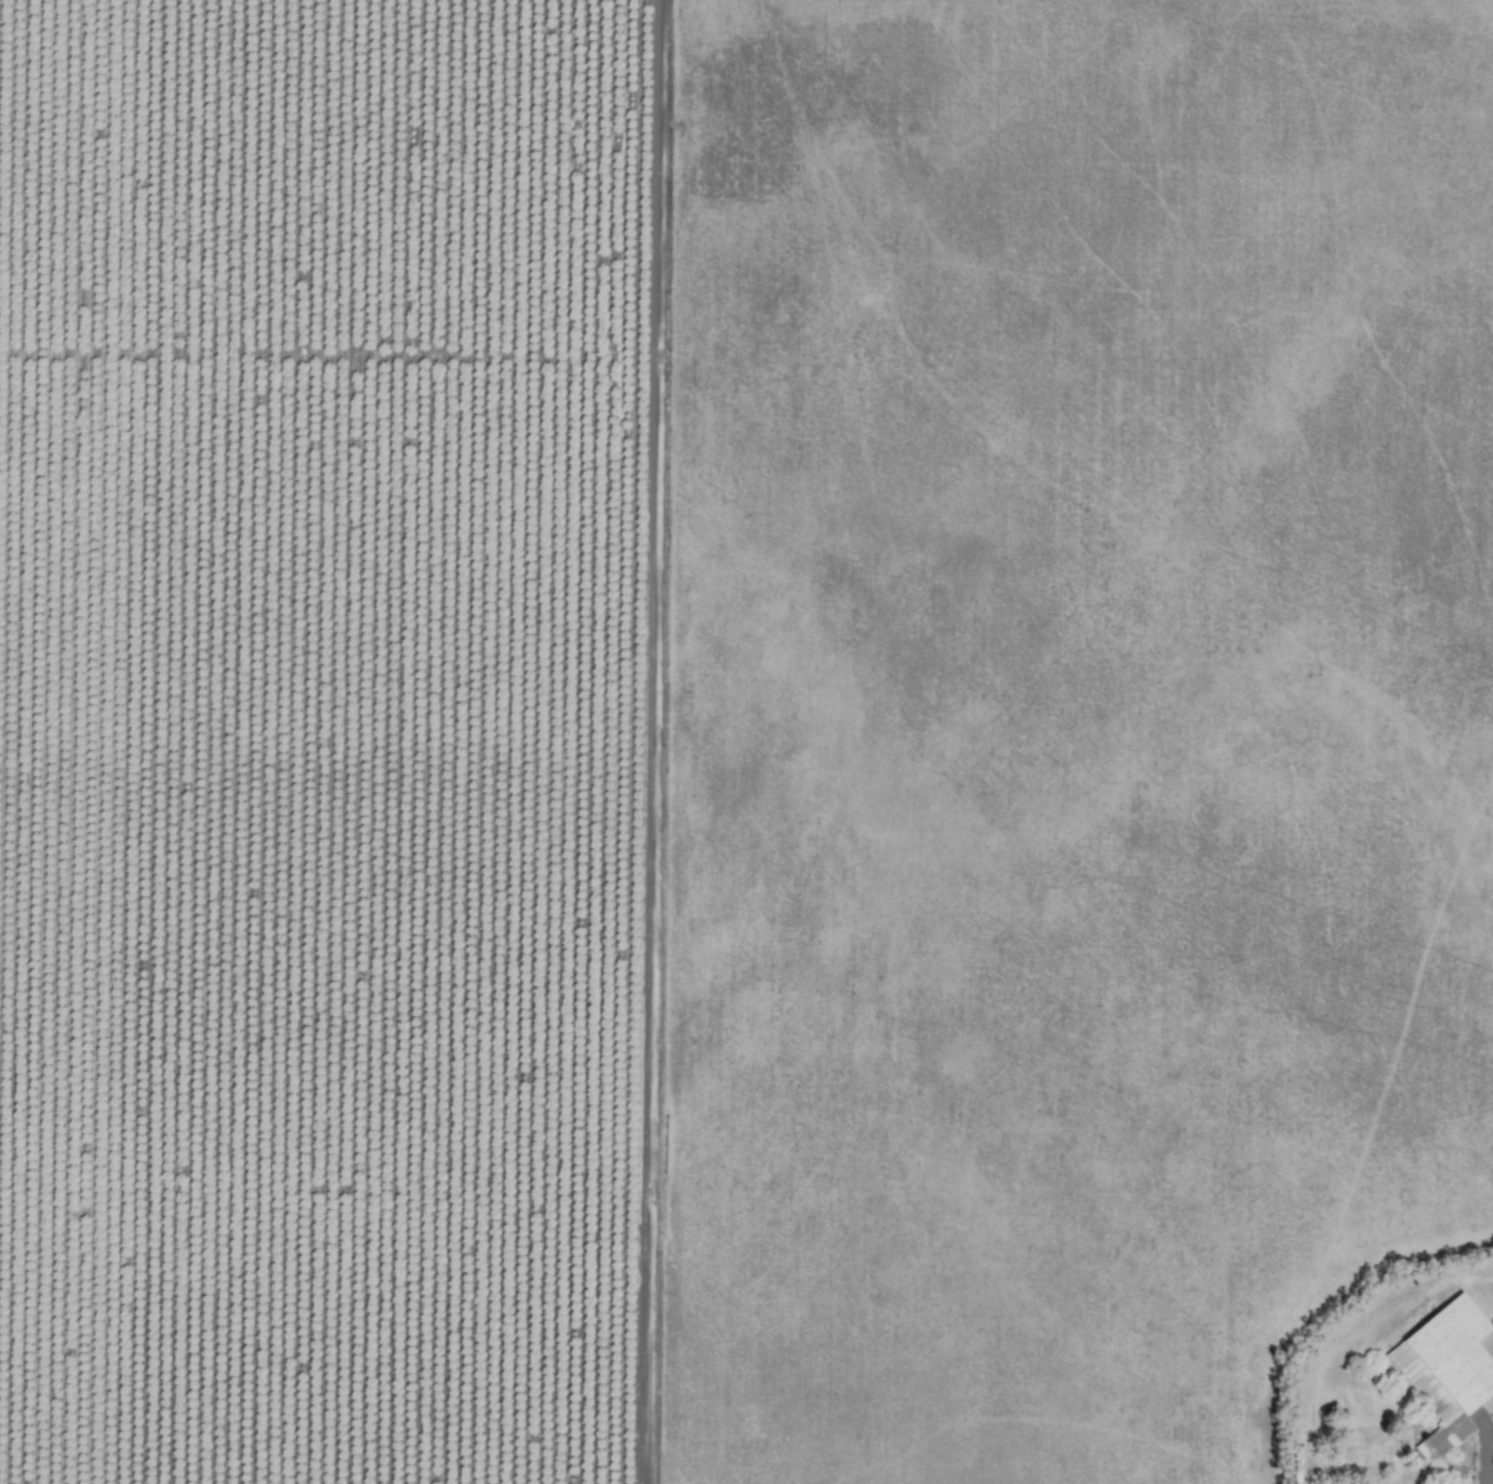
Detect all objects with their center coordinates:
building: (1487, 1344)
building: (1457, 1354)
building: (1432, 1404)

